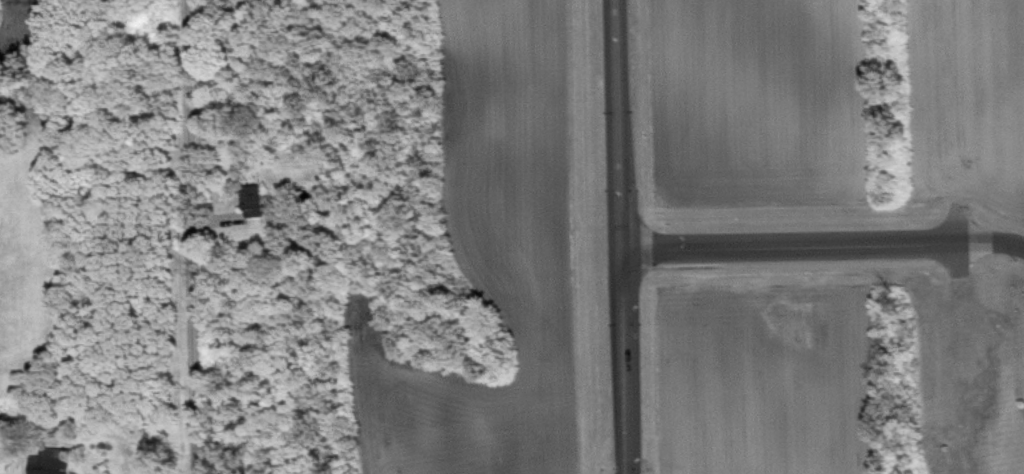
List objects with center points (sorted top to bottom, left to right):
building: (257, 210)
road: (185, 237)
road: (615, 237)
road: (1000, 238)
road: (795, 242)
building: (55, 465)

